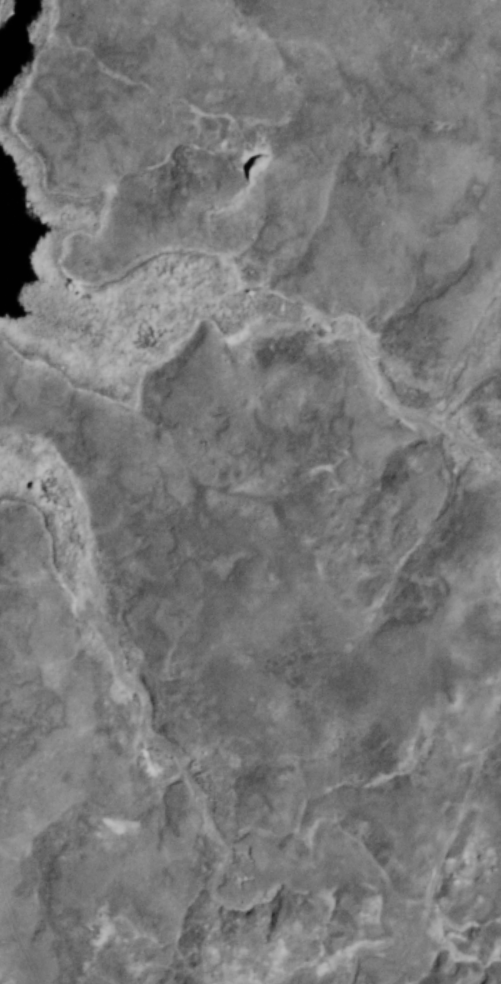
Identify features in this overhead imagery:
road: (17, 938)

